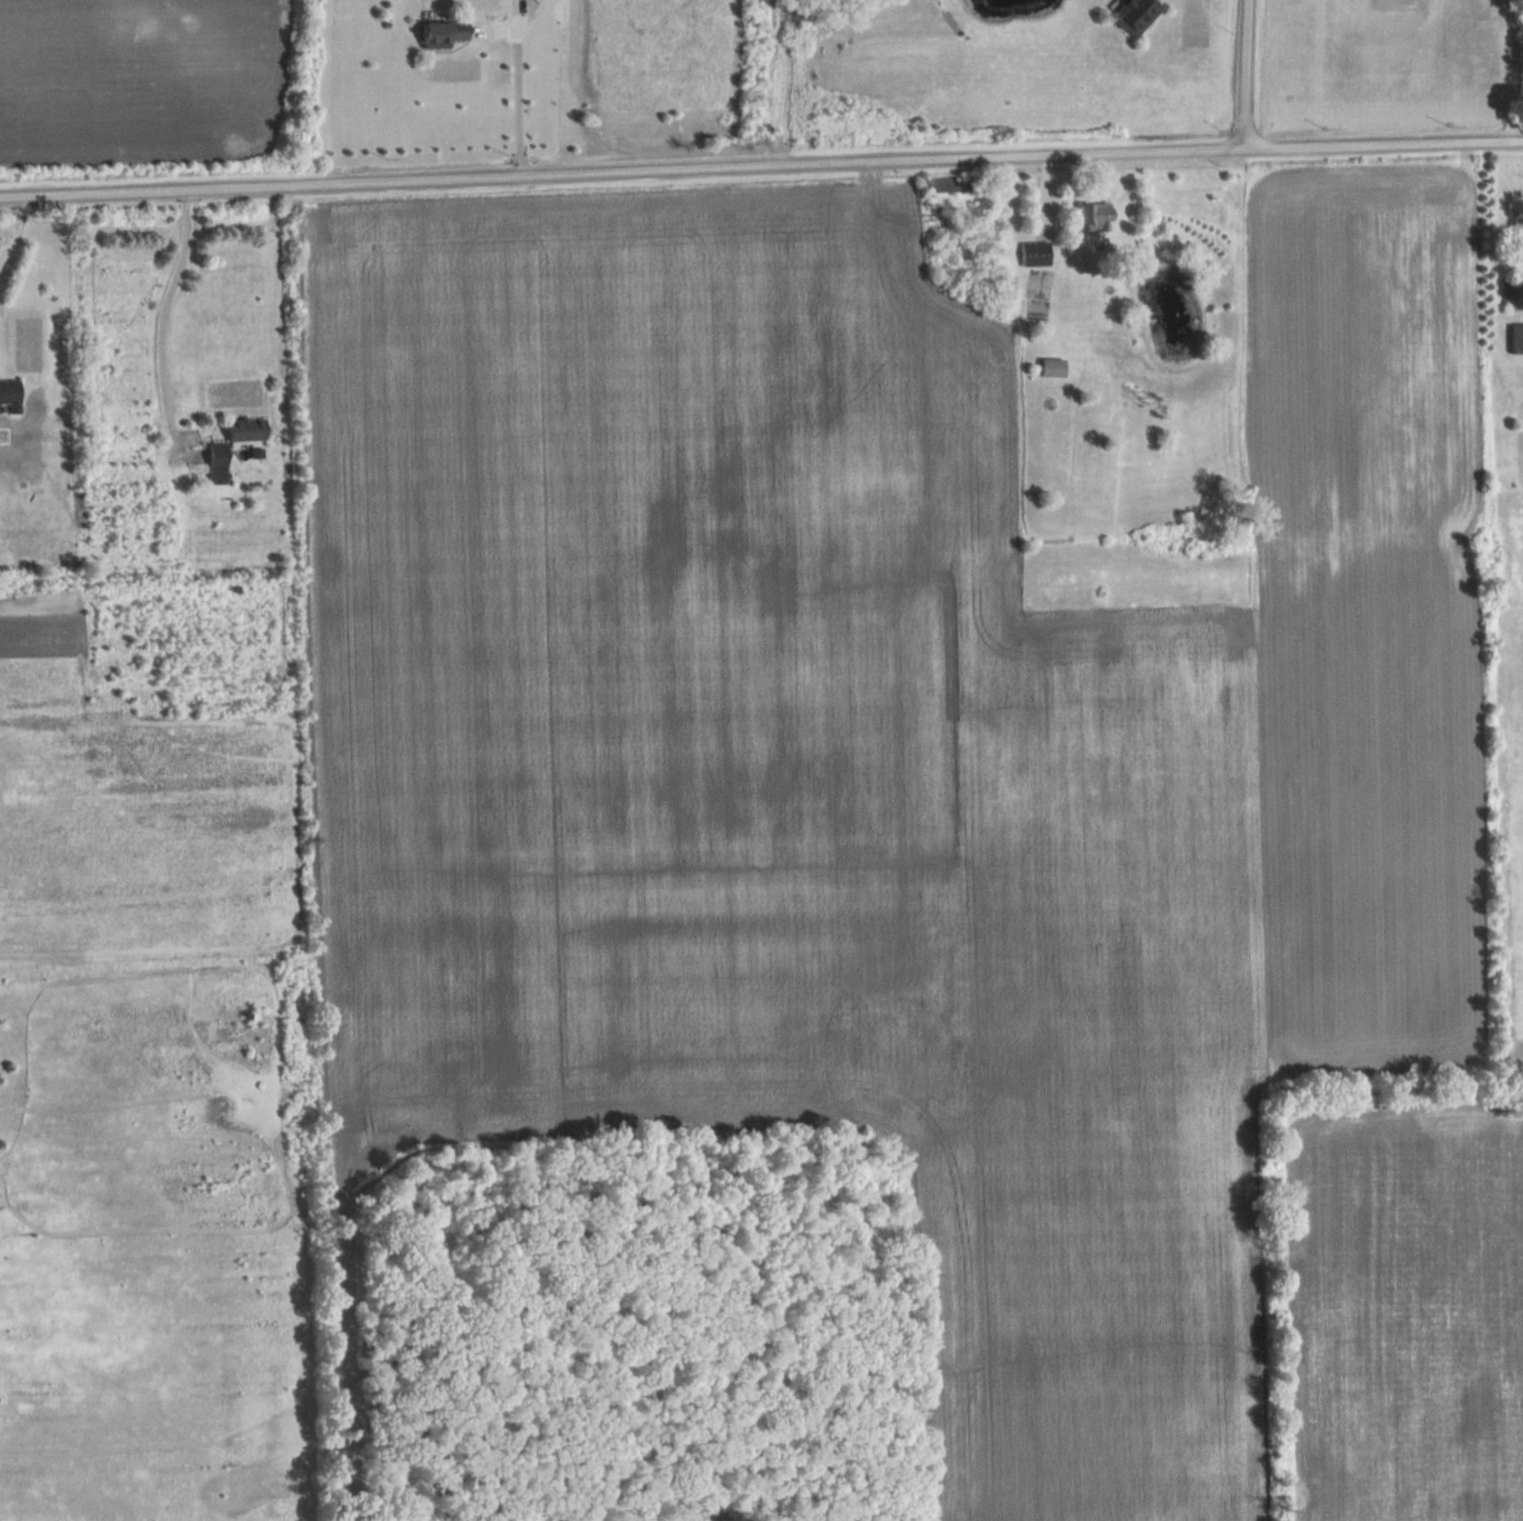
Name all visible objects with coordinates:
building: (1134, 13)
building: (445, 32)
road: (1237, 76)
road: (516, 92)
road: (761, 169)
building: (948, 184)
building: (1098, 217)
road: (13, 237)
building: (1036, 253)
road: (163, 313)
building: (1517, 338)
building: (1054, 367)
building: (10, 396)
building: (247, 430)
building: (218, 463)

